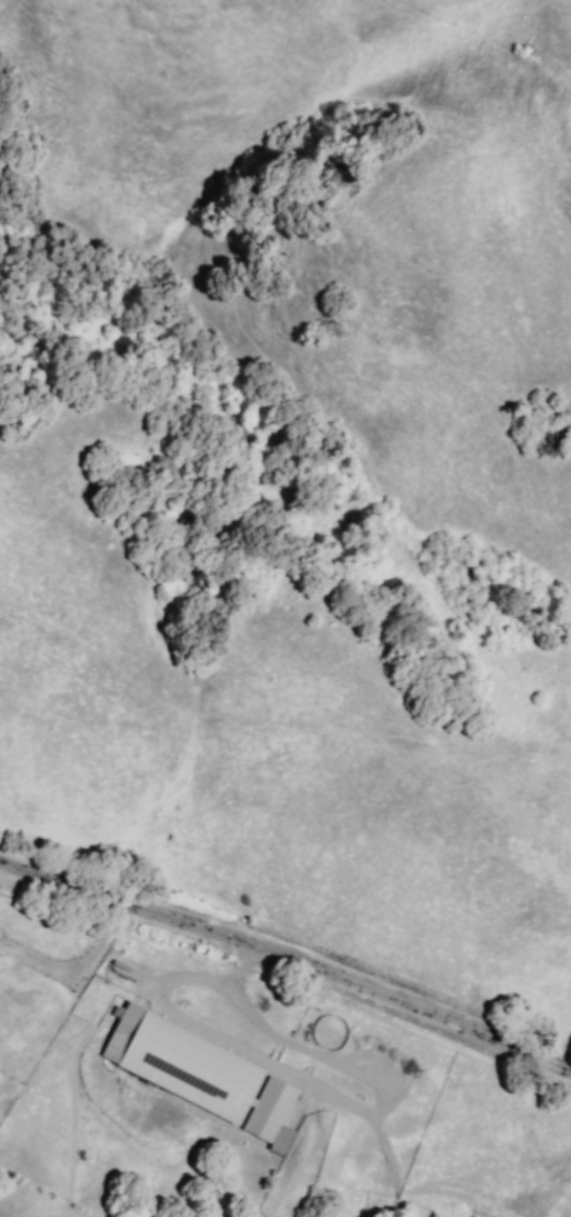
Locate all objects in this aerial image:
road: (287, 959)
building: (178, 1074)
road: (292, 1091)
building: (267, 1119)

